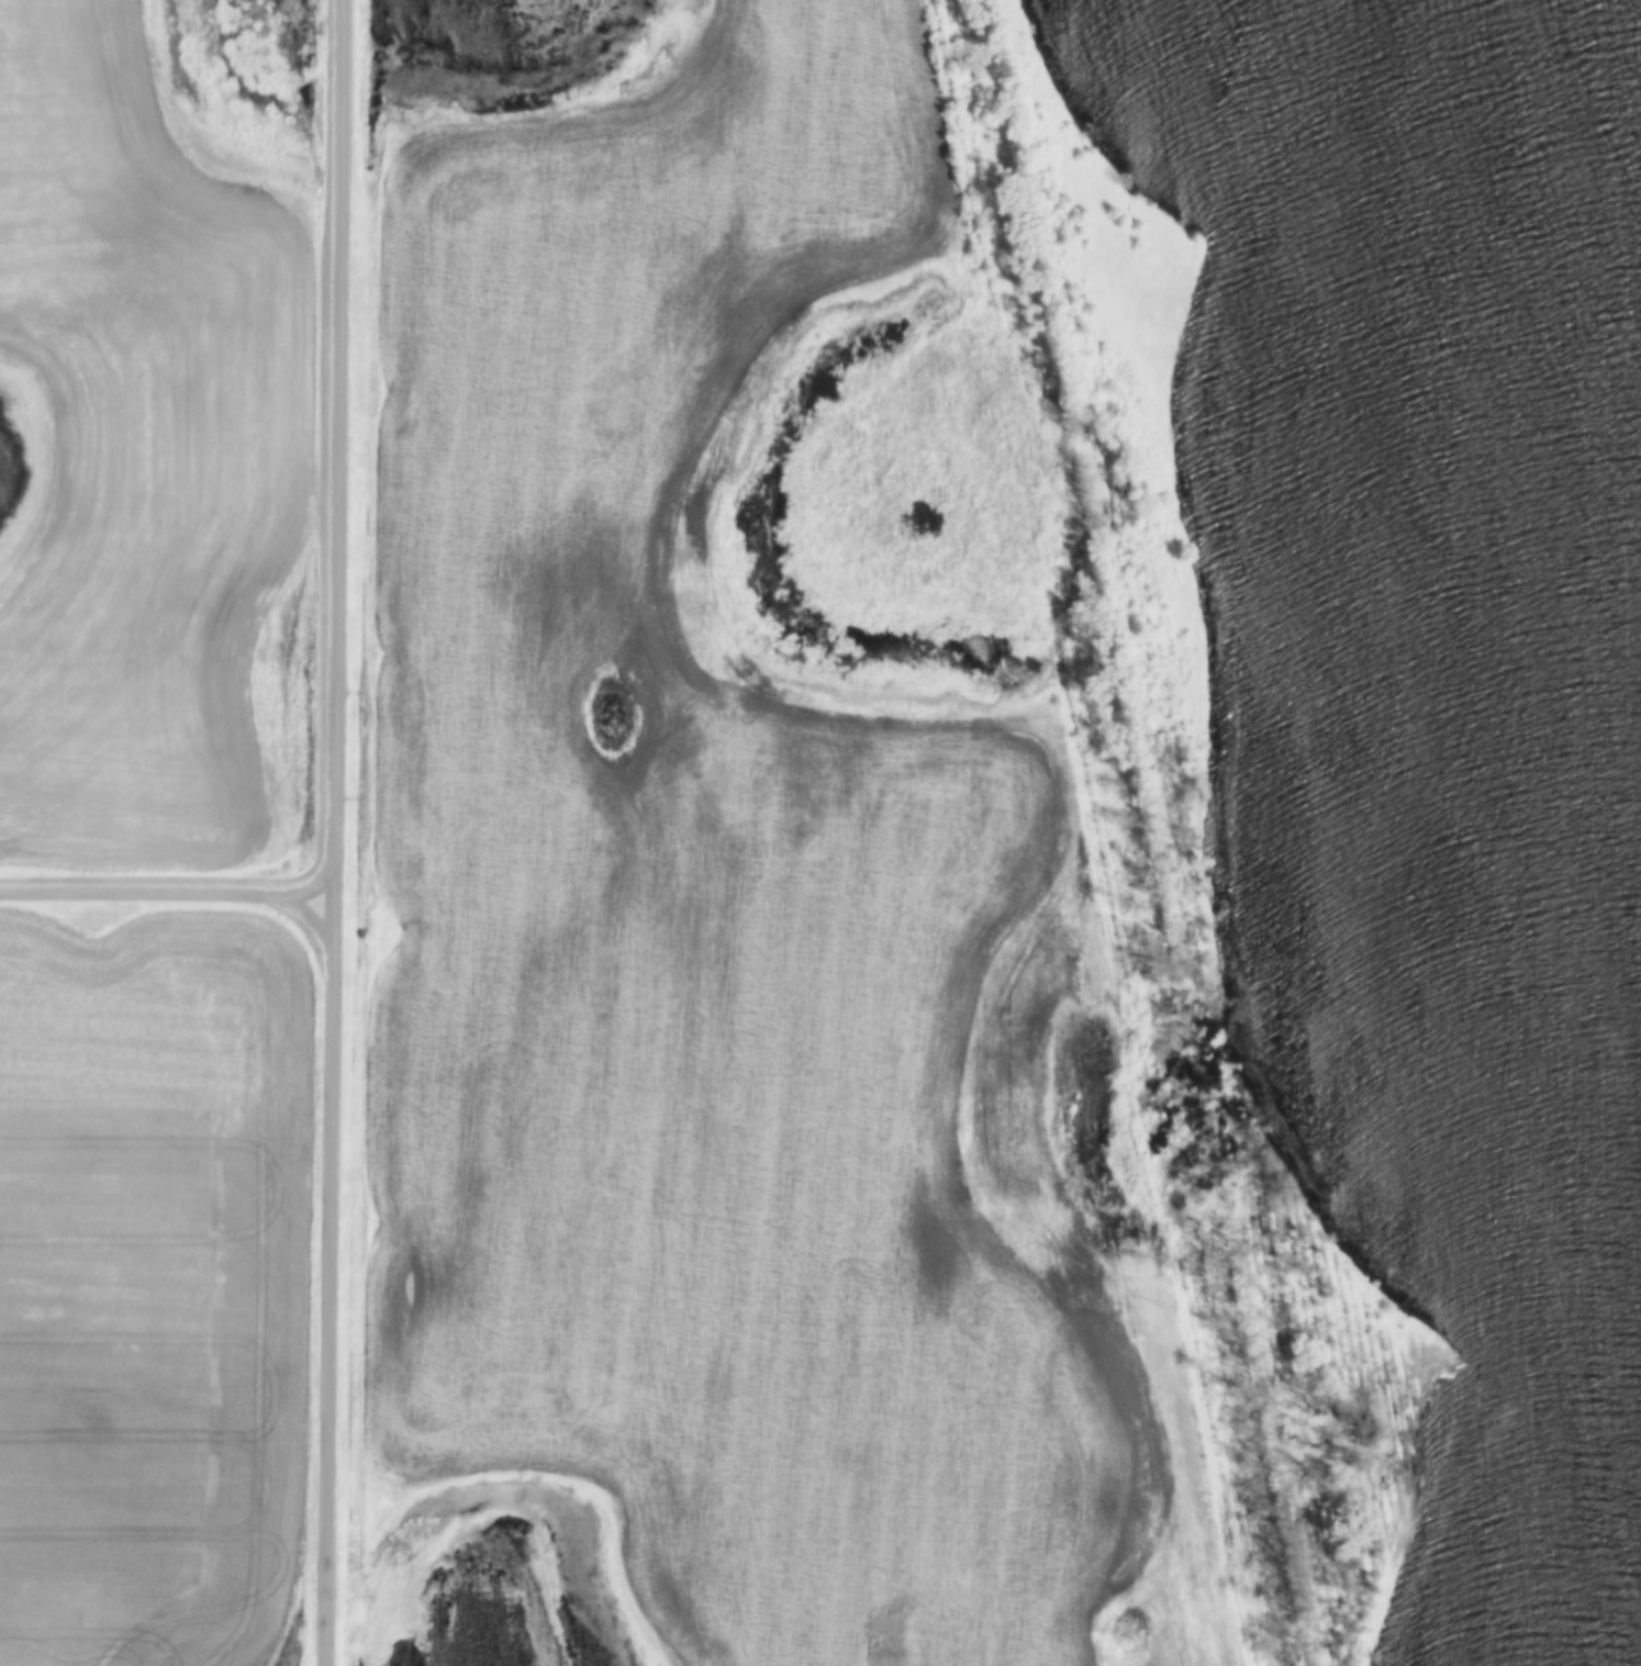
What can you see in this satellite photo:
road: (330, 832)
road: (164, 893)

